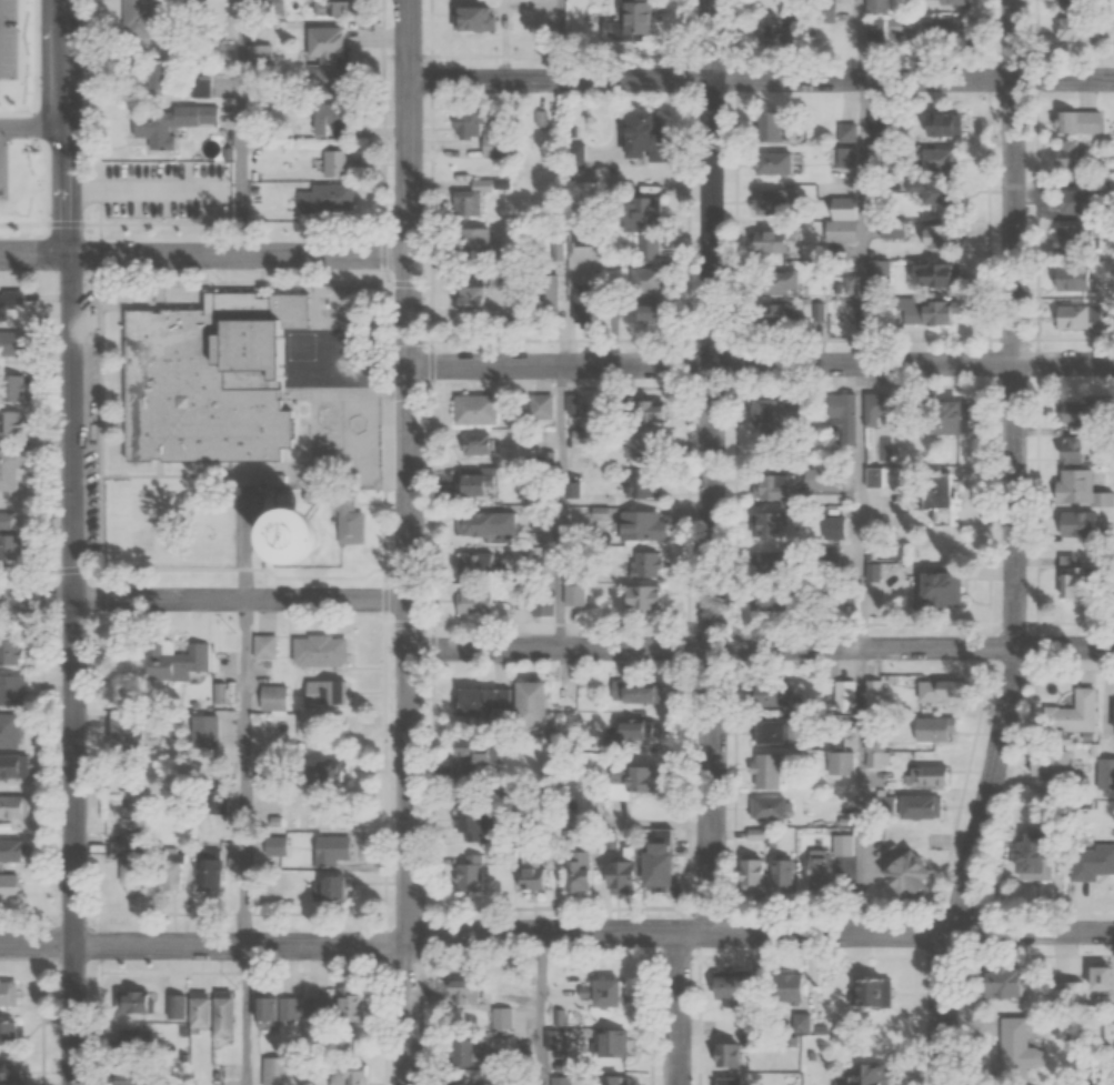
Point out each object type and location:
building: (946, 2)
building: (1070, 2)
building: (875, 6)
building: (328, 8)
building: (629, 17)
building: (468, 18)
road: (98, 19)
building: (143, 19)
building: (873, 29)
building: (909, 29)
building: (1073, 29)
building: (772, 31)
road: (861, 39)
road: (558, 40)
building: (324, 56)
building: (162, 77)
road: (760, 79)
building: (1075, 121)
building: (173, 122)
building: (935, 124)
building: (767, 127)
road: (240, 128)
building: (473, 129)
building: (628, 134)
building: (845, 143)
building: (569, 151)
building: (1064, 153)
building: (935, 159)
building: (331, 162)
building: (767, 163)
building: (10, 190)
building: (925, 192)
building: (169, 193)
building: (322, 198)
building: (465, 198)
building: (1072, 200)
building: (767, 202)
road: (861, 221)
building: (638, 222)
building: (836, 230)
building: (931, 237)
building: (1068, 237)
building: (469, 240)
building: (763, 242)
road: (203, 255)
building: (581, 260)
building: (926, 274)
building: (1068, 277)
building: (643, 280)
building: (775, 282)
building: (542, 292)
building: (466, 298)
building: (582, 304)
building: (816, 311)
building: (932, 312)
building: (641, 313)
building: (773, 315)
building: (1068, 315)
building: (18, 317)
road: (761, 363)
building: (204, 378)
building: (538, 405)
building: (873, 406)
building: (472, 409)
building: (771, 409)
building: (641, 411)
building: (1095, 412)
building: (841, 416)
building: (939, 418)
parking lot: (82, 419)
building: (11, 424)
road: (712, 466)
building: (11, 469)
building: (831, 480)
building: (466, 484)
building: (641, 485)
building: (763, 486)
building: (1075, 489)
building: (933, 496)
road: (861, 504)
road: (559, 505)
building: (345, 523)
building: (483, 523)
building: (763, 523)
building: (1074, 523)
building: (638, 525)
building: (834, 526)
road: (69, 542)
road: (409, 542)
road: (1014, 546)
building: (11, 549)
water tower: (290, 561)
building: (644, 564)
building: (877, 569)
building: (1070, 577)
building: (933, 589)
building: (572, 594)
building: (639, 597)
road: (204, 600)
building: (765, 602)
building: (471, 603)
building: (539, 604)
building: (264, 646)
road: (761, 646)
building: (315, 651)
building: (12, 654)
building: (192, 662)
building: (14, 691)
building: (631, 692)
building: (929, 692)
building: (324, 693)
building: (873, 693)
building: (842, 694)
building: (759, 695)
building: (270, 697)
building: (498, 703)
building: (1068, 715)
building: (1111, 722)
building: (11, 731)
building: (128, 733)
building: (763, 733)
building: (872, 754)
building: (468, 763)
building: (837, 763)
building: (1045, 763)
building: (16, 766)
building: (762, 771)
road: (243, 773)
building: (1104, 773)
building: (323, 774)
building: (625, 781)
road: (860, 790)
building: (767, 807)
building: (17, 813)
building: (466, 820)
building: (754, 835)
building: (282, 847)
building: (327, 850)
building: (13, 851)
building: (1026, 856)
building: (132, 857)
building: (1088, 861)
building: (650, 864)
building: (576, 865)
building: (816, 870)
building: (469, 872)
building: (779, 874)
building: (897, 874)
building: (213, 875)
building: (751, 875)
building: (618, 876)
building: (529, 877)
building: (12, 887)
building: (325, 888)
road: (761, 933)
road: (204, 945)
building: (995, 983)
building: (784, 987)
building: (724, 989)
building: (1076, 989)
building: (459, 992)
building: (10, 994)
building: (598, 994)
building: (867, 994)
building: (140, 1004)
building: (349, 1005)
building: (277, 1008)
building: (314, 1008)
road: (680, 1008)
building: (213, 1014)
road: (243, 1015)
building: (499, 1018)
building: (799, 1024)
building: (12, 1034)
building: (134, 1038)
building: (1007, 1044)
building: (609, 1045)
building: (465, 1053)
building: (725, 1056)
building: (14, 1071)
building: (274, 1071)
building: (349, 1074)
building: (869, 1074)
building: (603, 1079)
building: (727, 1081)
building: (460, 1082)

